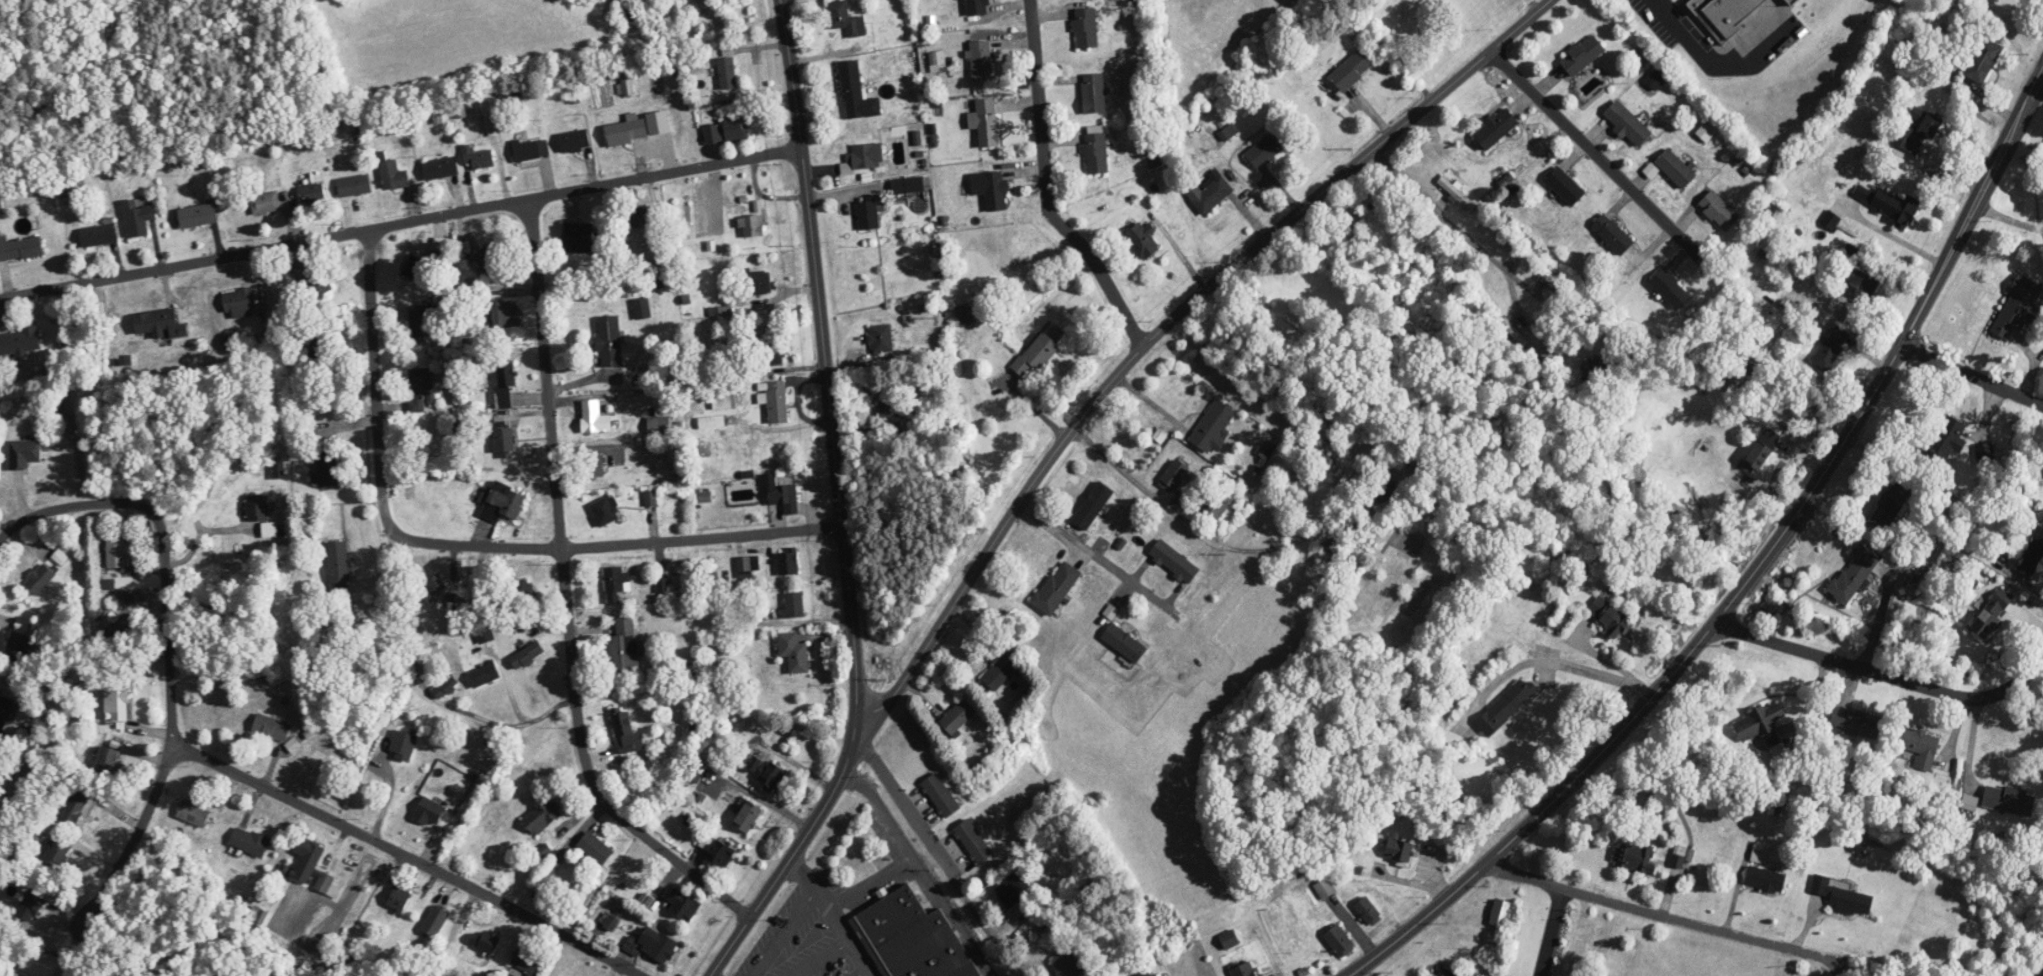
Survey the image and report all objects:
building: (1793, 1)
building: (976, 7)
building: (630, 13)
building: (1725, 14)
building: (846, 19)
building: (1086, 28)
building: (1583, 55)
building: (1984, 60)
building: (982, 61)
road: (1712, 65)
building: (1353, 69)
building: (727, 73)
building: (857, 93)
building: (1093, 93)
building: (1926, 122)
building: (987, 123)
building: (1628, 124)
building: (1496, 128)
building: (735, 129)
building: (626, 132)
building: (574, 141)
building: (527, 150)
building: (1096, 150)
building: (1266, 150)
building: (866, 157)
building: (478, 158)
road: (1609, 166)
building: (440, 168)
building: (1675, 169)
building: (392, 173)
building: (354, 185)
building: (908, 185)
building: (70, 186)
building: (1566, 186)
road: (1046, 188)
building: (995, 191)
building: (312, 193)
building: (1457, 194)
building: (1212, 195)
building: (265, 203)
building: (1886, 203)
building: (870, 211)
building: (1719, 211)
building: (198, 216)
building: (641, 217)
road: (2007, 217)
building: (138, 218)
road: (400, 222)
building: (752, 226)
building: (1613, 234)
building: (98, 235)
road: (1893, 237)
road: (1469, 240)
building: (1142, 241)
building: (1511, 241)
building: (582, 242)
building: (20, 248)
building: (487, 260)
building: (415, 267)
building: (1858, 273)
building: (1548, 276)
building: (313, 281)
building: (758, 282)
building: (1671, 289)
building: (240, 303)
building: (642, 308)
building: (2019, 308)
building: (505, 314)
building: (965, 315)
building: (419, 323)
building: (160, 324)
building: (1514, 332)
building: (881, 338)
building: (609, 340)
building: (19, 341)
road: (1148, 342)
building: (1831, 347)
building: (773, 353)
building: (1036, 354)
building: (1593, 369)
road: (1971, 373)
building: (505, 384)
building: (421, 388)
building: (774, 400)
building: (721, 402)
building: (887, 402)
building: (595, 418)
building: (658, 425)
building: (1213, 426)
building: (504, 438)
building: (1946, 440)
building: (1763, 448)
building: (24, 453)
building: (1985, 453)
building: (325, 463)
building: (593, 465)
building: (1173, 476)
building: (1380, 488)
building: (784, 496)
building: (501, 502)
building: (1218, 503)
road: (840, 504)
building: (1102, 504)
building: (1890, 506)
building: (606, 511)
building: (261, 515)
road: (1187, 520)
road: (204, 533)
road: (463, 545)
building: (117, 553)
building: (2033, 556)
building: (1174, 561)
building: (787, 562)
building: (747, 564)
building: (338, 565)
road: (1115, 568)
road: (1754, 569)
building: (1854, 575)
building: (40, 579)
building: (616, 583)
building: (432, 587)
building: (1056, 588)
building: (524, 591)
road: (566, 596)
building: (794, 604)
building: (1992, 614)
building: (1610, 615)
building: (1564, 619)
building: (1124, 643)
road: (168, 644)
building: (17, 647)
building: (623, 647)
building: (794, 652)
building: (527, 655)
road: (1616, 664)
building: (692, 670)
building: (1001, 670)
road: (1598, 673)
building: (484, 674)
road: (1883, 674)
building: (445, 687)
building: (116, 704)
building: (1506, 707)
building: (958, 717)
building: (1856, 722)
building: (272, 728)
building: (1764, 728)
building: (626, 733)
building: (1918, 742)
building: (402, 745)
building: (106, 761)
building: (695, 773)
building: (772, 777)
road: (387, 792)
building: (941, 796)
building: (2009, 800)
building: (76, 806)
building: (429, 811)
building: (193, 813)
building: (543, 816)
building: (748, 816)
building: (973, 840)
building: (250, 841)
building: (596, 847)
road: (907, 847)
building: (1399, 851)
building: (721, 853)
building: (55, 854)
building: (312, 854)
building: (1678, 856)
building: (1632, 857)
road: (409, 858)
road: (944, 861)
building: (1765, 879)
building: (1266, 880)
building: (328, 884)
building: (1324, 888)
building: (1013, 889)
building: (542, 893)
building: (1843, 895)
building: (399, 899)
building: (683, 903)
building: (29, 906)
building: (1368, 911)
building: (1501, 913)
road: (833, 915)
road: (952, 916)
road: (1686, 919)
building: (435, 921)
road: (780, 928)
road: (1550, 930)
building: (915, 937)
building: (1229, 939)
building: (1339, 940)
building: (486, 941)
building: (657, 944)
building: (1590, 945)
road: (549, 955)
building: (525, 961)
building: (1068, 965)
building: (1245, 969)
building: (1148, 974)
building: (21, 975)

